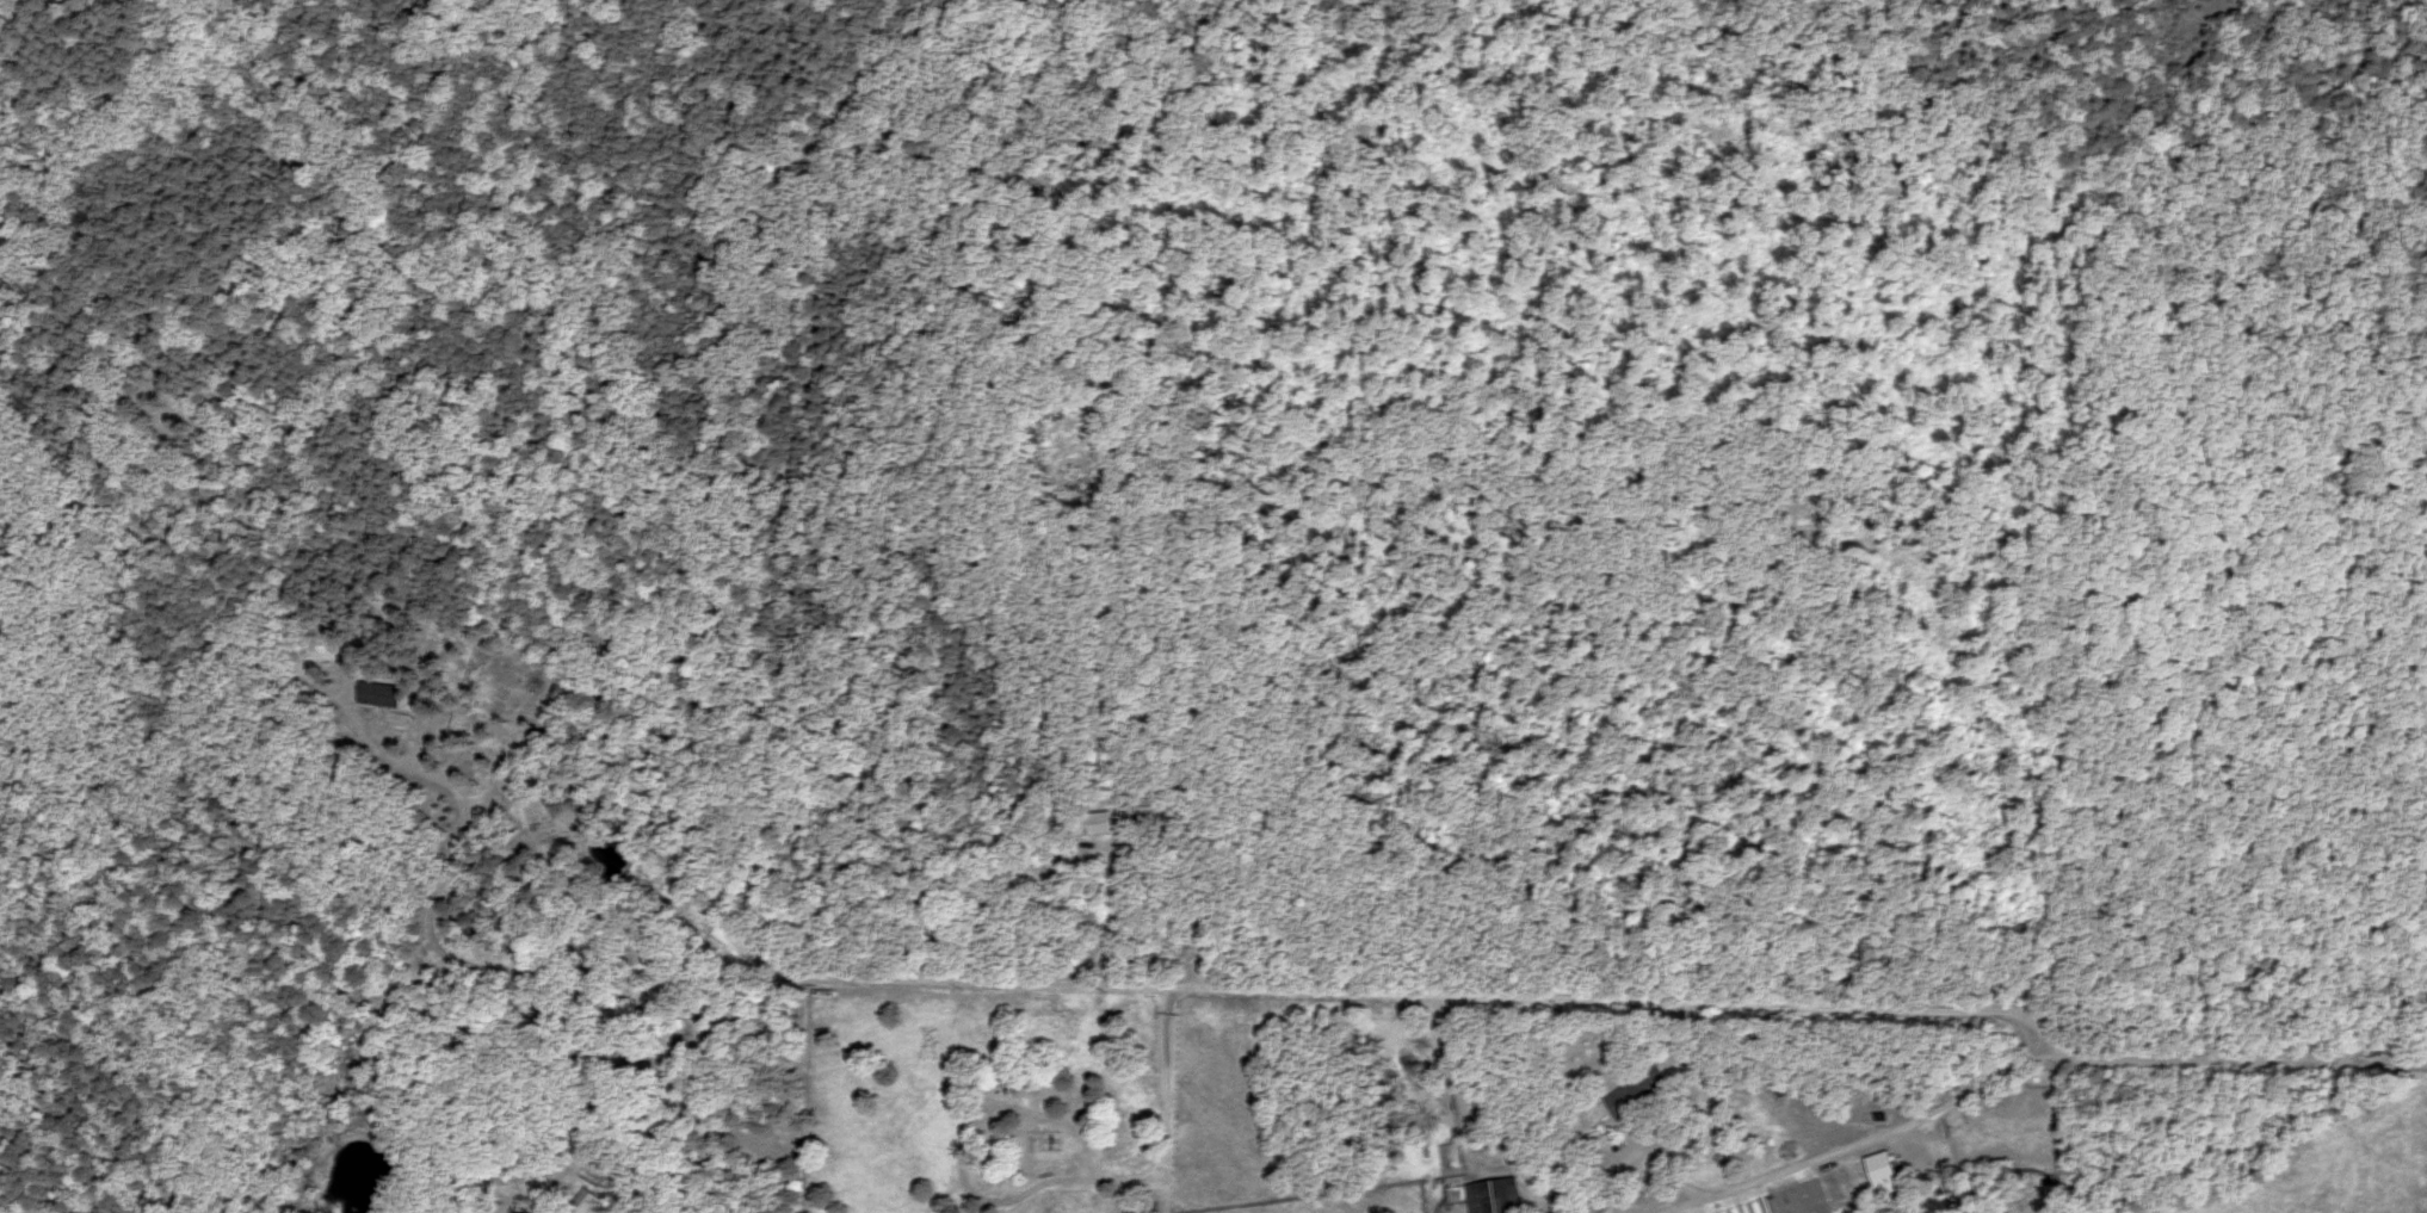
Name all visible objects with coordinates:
road: (1939, 491)
road: (2159, 699)
road: (1758, 1011)
road: (2240, 1064)
building: (1623, 1103)
road: (1462, 1121)
building: (1044, 1141)
road: (1865, 1144)
road: (1468, 1151)
building: (1884, 1174)
building: (1506, 1195)

